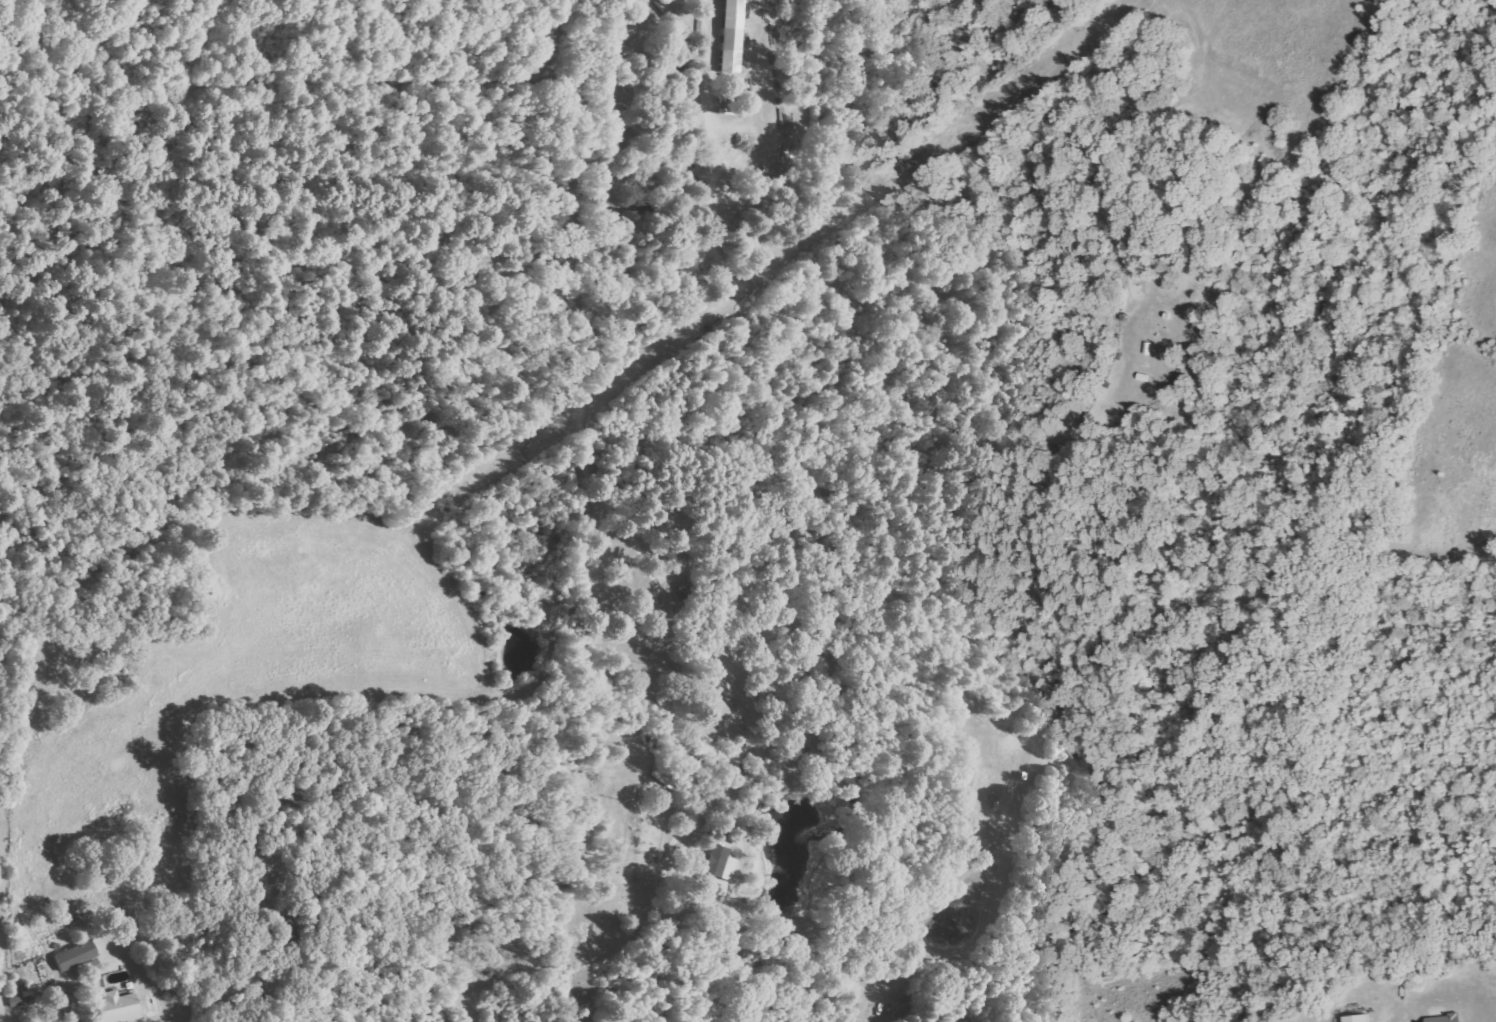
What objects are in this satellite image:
building: (729, 36)
building: (714, 875)
building: (287, 928)
building: (115, 1007)
building: (1356, 1018)
building: (1444, 1018)
building: (930, 1021)

